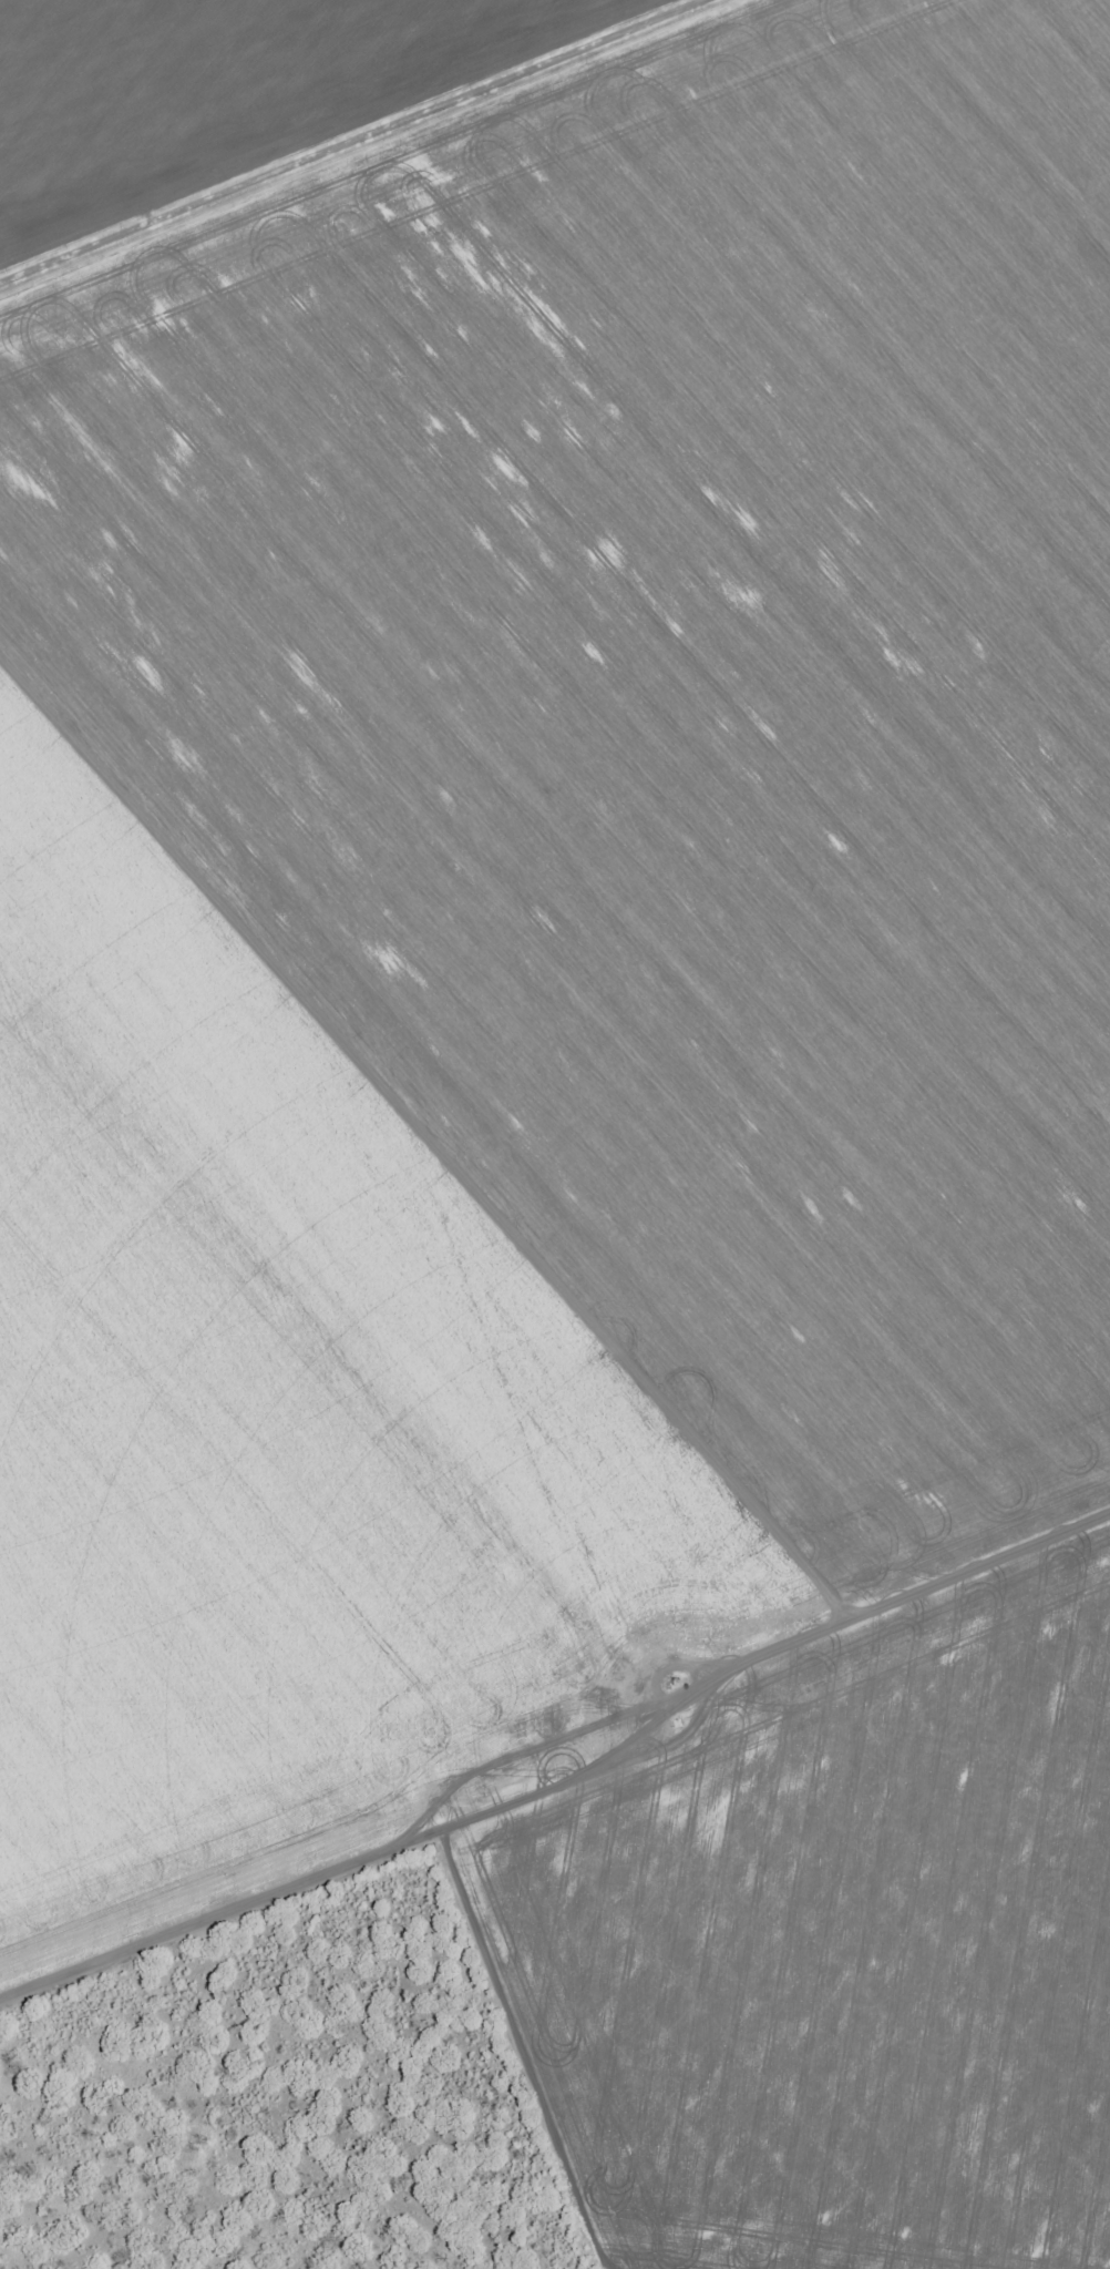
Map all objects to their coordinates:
road: (356, 142)
road: (916, 1593)
road: (363, 1839)
road: (511, 2042)

